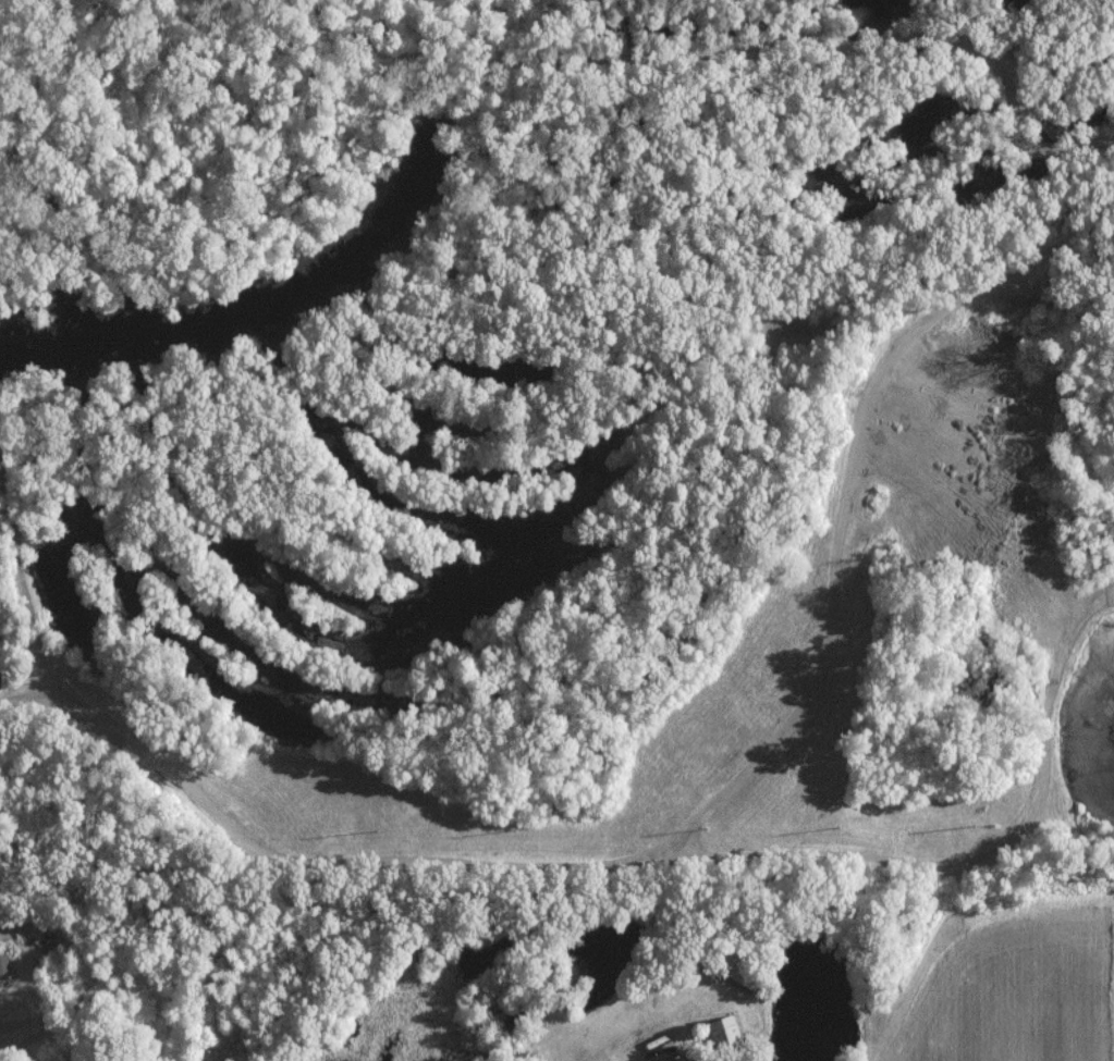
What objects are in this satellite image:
road: (782, 18)
road: (23, 588)
road: (713, 793)
road: (491, 884)
building: (725, 1029)
road: (650, 1054)

